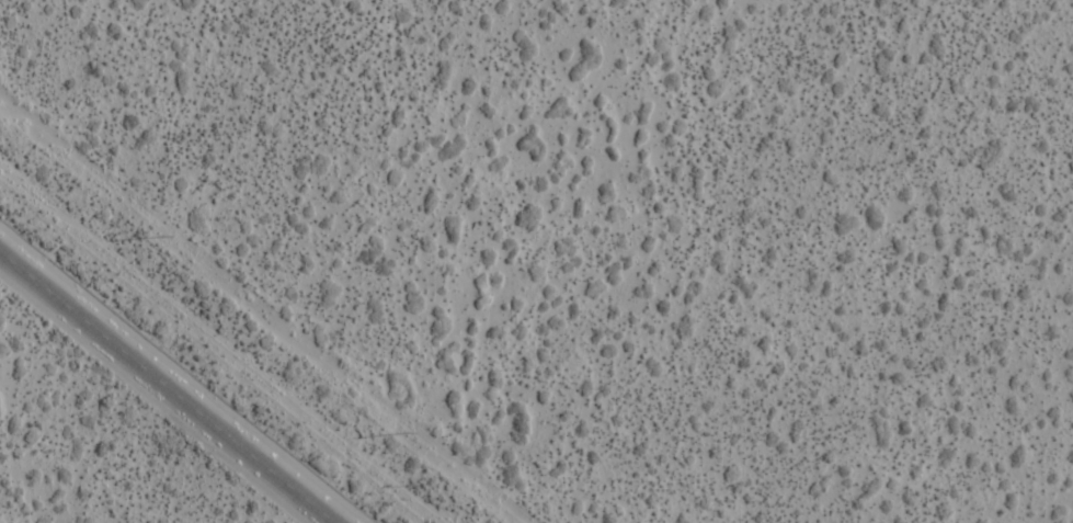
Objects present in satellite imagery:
building: (661, 15)
road: (171, 383)

